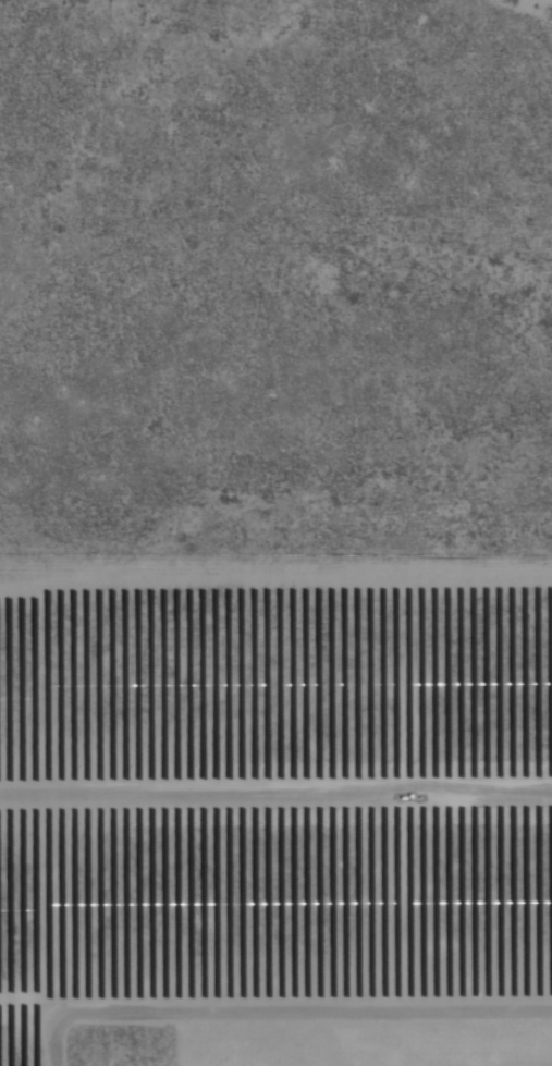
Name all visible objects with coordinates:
solar farm: (273, 796)

